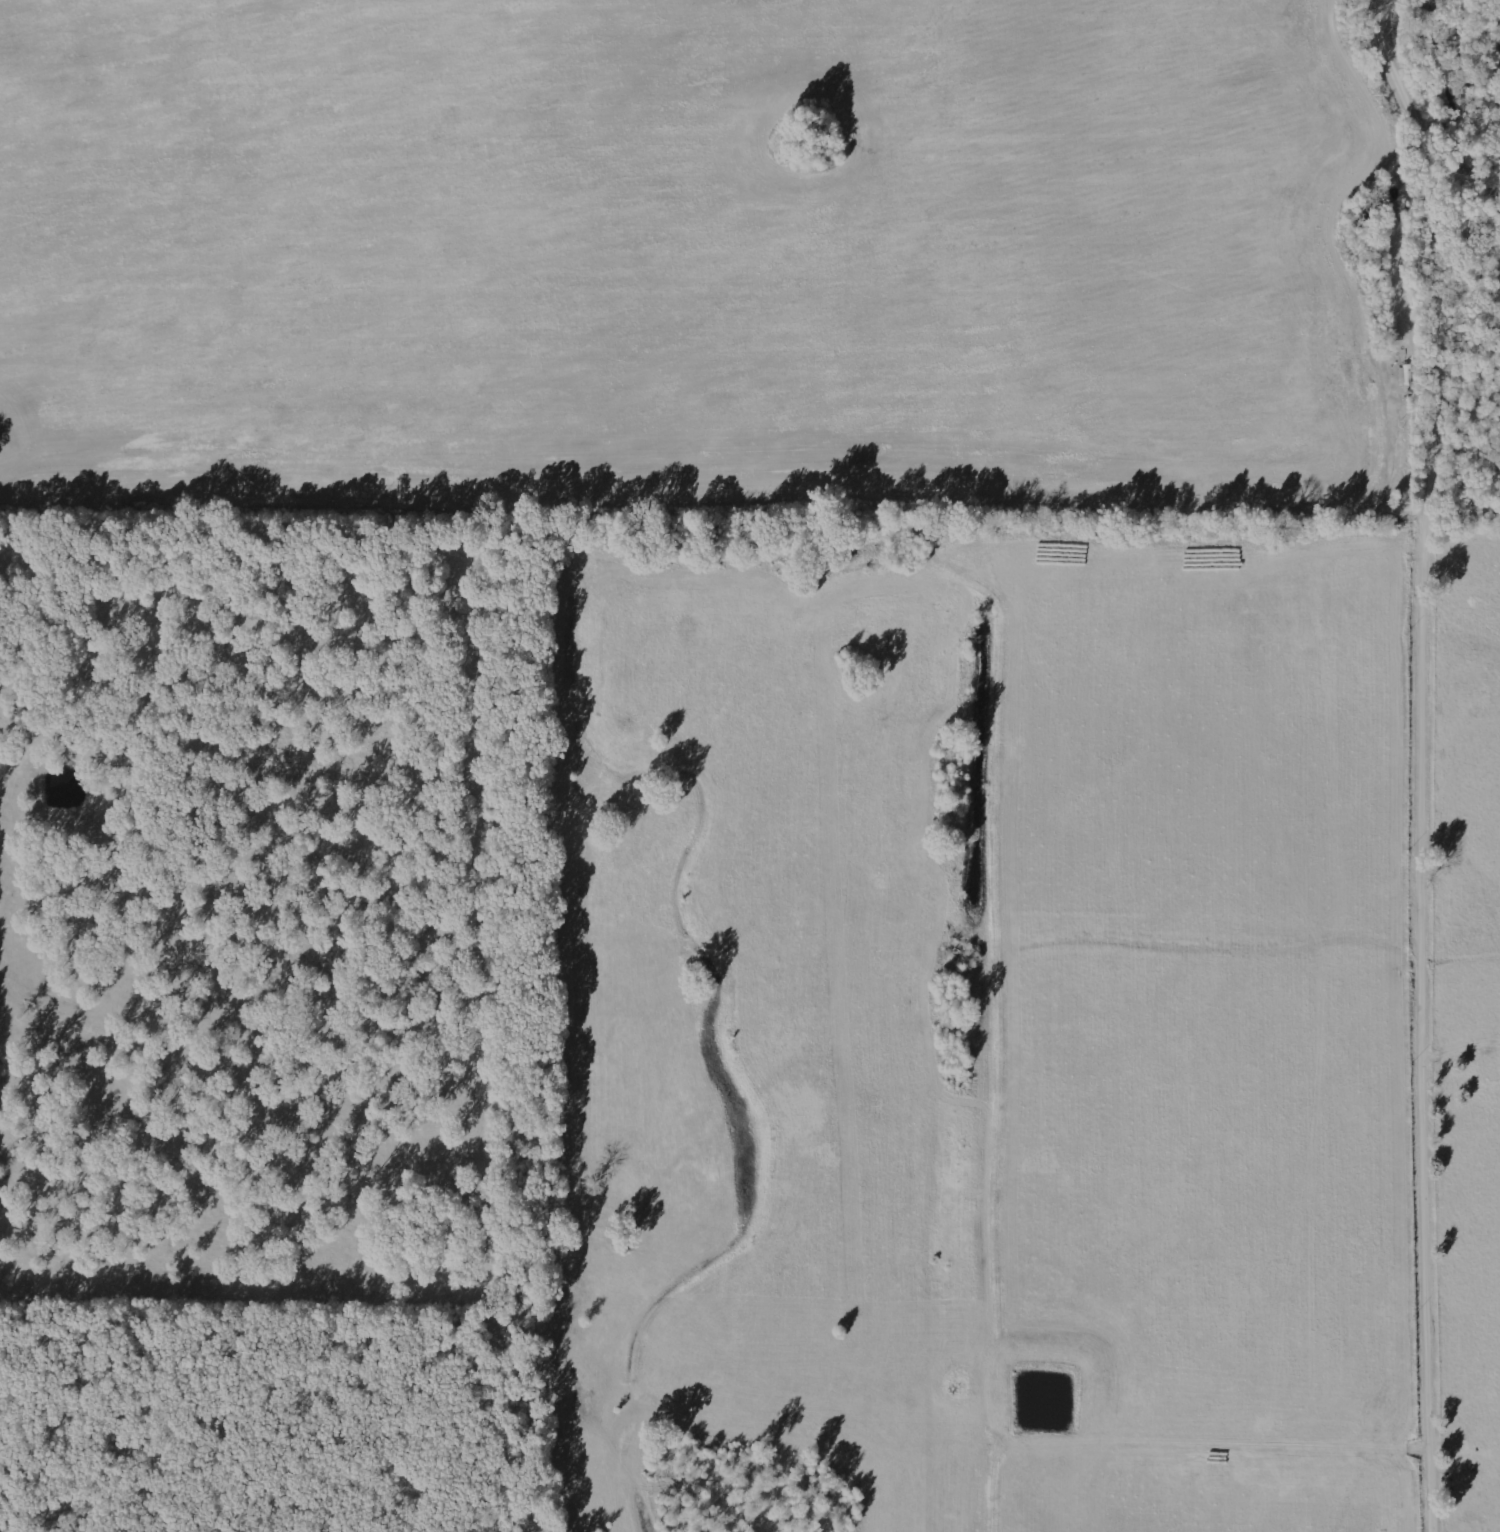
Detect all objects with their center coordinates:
road: (1427, 760)

